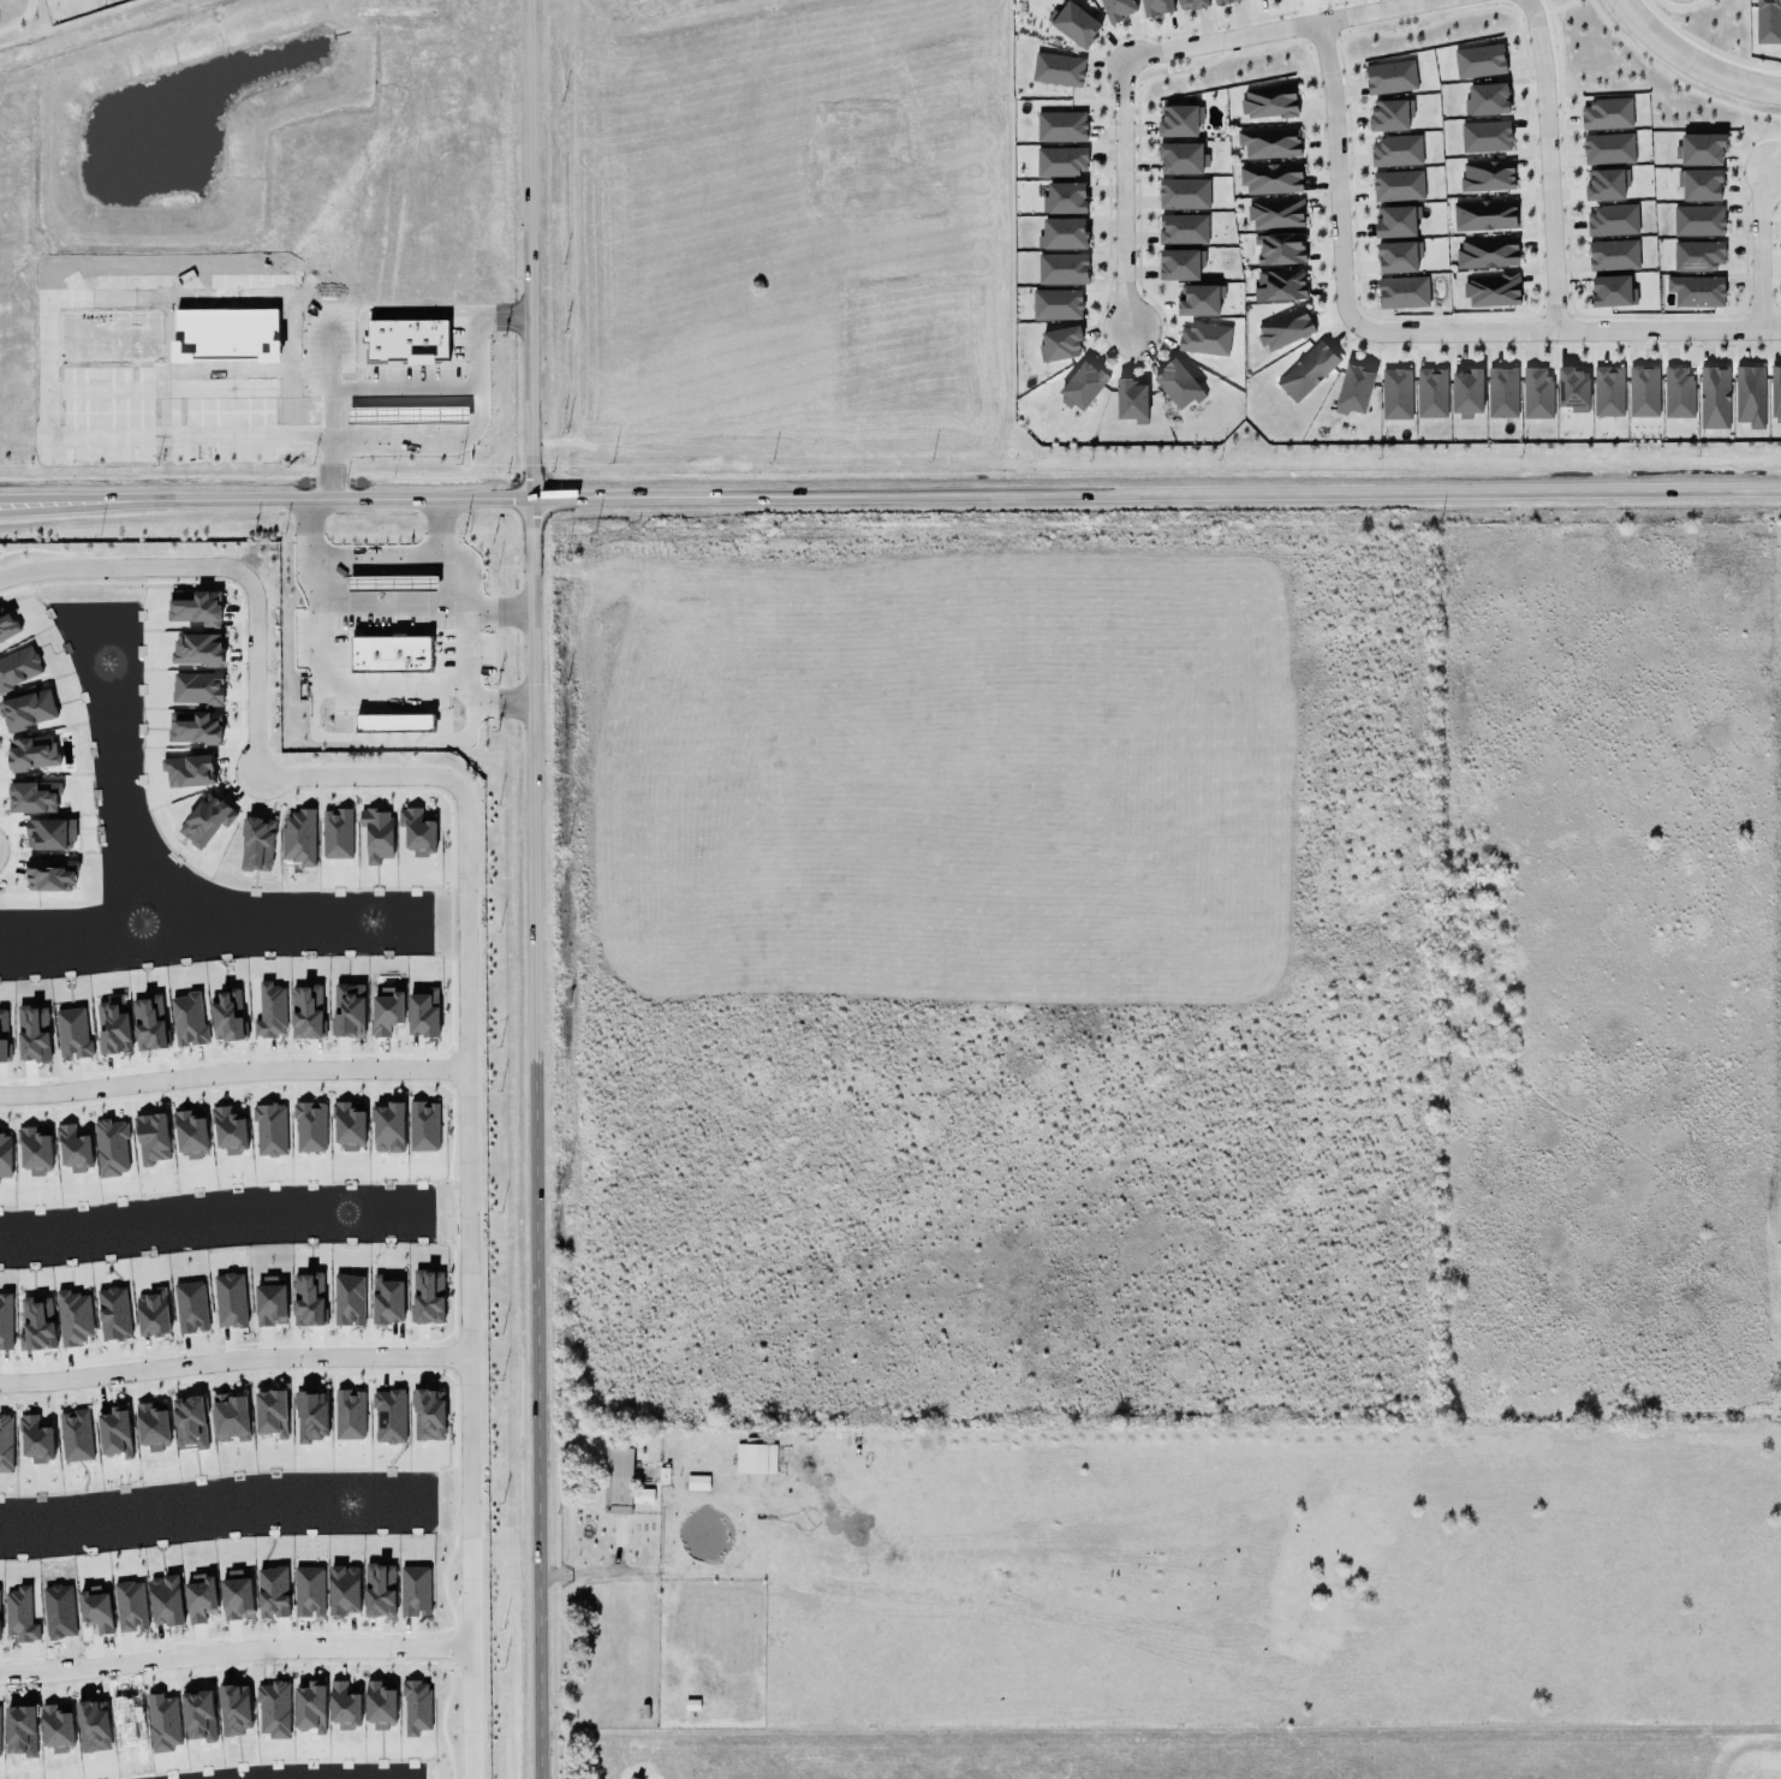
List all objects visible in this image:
building: (1220, 1)
building: (1189, 4)
building: (1156, 7)
building: (1114, 8)
building: (1765, 20)
building: (1073, 24)
road: (1277, 29)
building: (1479, 61)
road: (1692, 61)
building: (1058, 70)
building: (1387, 76)
building: (1485, 100)
building: (1268, 102)
building: (1604, 113)
building: (1387, 114)
building: (1174, 120)
building: (1058, 125)
building: (1482, 135)
building: (1269, 143)
building: (1604, 148)
building: (1697, 149)
building: (1394, 150)
building: (1178, 157)
building: (1061, 161)
road: (1548, 162)
road: (1335, 172)
building: (1484, 175)
building: (1267, 177)
building: (1603, 184)
building: (1697, 184)
building: (1398, 185)
building: (1180, 192)
road: (1122, 195)
building: (1061, 198)
building: (1271, 213)
building: (1482, 214)
building: (1694, 219)
building: (1609, 220)
building: (1393, 221)
building: (1180, 228)
building: (1060, 233)
building: (1276, 248)
road: (1759, 249)
building: (1487, 252)
building: (1609, 254)
building: (1694, 254)
building: (1394, 256)
building: (1180, 264)
building: (1059, 268)
building: (1280, 285)
building: (1490, 288)
building: (1696, 290)
building: (1609, 291)
building: (1402, 292)
building: (1196, 299)
building: (1053, 303)
road: (381, 310)
building: (1285, 328)
road: (1565, 329)
road: (477, 338)
building: (1202, 338)
building: (1056, 343)
road: (328, 358)
building: (1303, 371)
building: (1079, 385)
building: (1178, 385)
building: (1351, 389)
building: (1572, 389)
building: (1604, 391)
building: (1639, 391)
building: (1428, 392)
building: (1464, 392)
building: (1675, 392)
building: (1774, 392)
building: (1393, 393)
building: (1501, 393)
building: (1536, 394)
building: (1746, 394)
building: (1714, 397)
building: (1131, 400)
building: (407, 415)
road: (333, 427)
road: (890, 495)
road: (374, 555)
road: (121, 566)
building: (392, 582)
road: (451, 584)
road: (340, 602)
building: (195, 607)
building: (6, 625)
building: (197, 649)
building: (391, 654)
building: (18, 668)
road: (252, 674)
road: (463, 682)
road: (387, 685)
building: (197, 688)
building: (28, 710)
building: (394, 722)
building: (193, 724)
road: (338, 737)
building: (32, 752)
building: (189, 770)
road: (353, 775)
building: (34, 797)
building: (207, 820)
building: (46, 832)
building: (417, 832)
building: (377, 833)
building: (336, 834)
building: (298, 837)
building: (257, 844)
building: (50, 875)
road: (529, 888)
building: (305, 1009)
building: (423, 1010)
building: (270, 1011)
building: (349, 1011)
building: (385, 1011)
building: (226, 1016)
building: (187, 1019)
building: (149, 1023)
building: (113, 1029)
building: (32, 1034)
building: (72, 1034)
building: (2, 1035)
road: (231, 1071)
building: (350, 1125)
building: (310, 1128)
building: (388, 1128)
building: (270, 1130)
building: (228, 1131)
building: (191, 1132)
building: (151, 1138)
building: (111, 1148)
building: (73, 1149)
building: (35, 1150)
building: (5, 1155)
road: (465, 1280)
building: (428, 1297)
building: (308, 1299)
building: (349, 1299)
building: (230, 1301)
building: (387, 1301)
building: (270, 1302)
building: (191, 1307)
building: (112, 1309)
building: (153, 1313)
building: (73, 1317)
building: (4, 1319)
building: (37, 1325)
road: (232, 1359)
building: (270, 1406)
building: (347, 1410)
building: (427, 1410)
building: (312, 1416)
building: (231, 1417)
building: (389, 1417)
building: (190, 1423)
building: (153, 1427)
building: (114, 1433)
building: (32, 1434)
building: (76, 1435)
building: (6, 1444)
building: (755, 1457)
building: (620, 1481)
building: (697, 1482)
building: (642, 1495)
building: (309, 1591)
building: (199, 1597)
road: (233, 1652)
building: (380, 1704)
building: (344, 1706)
building: (310, 1707)

